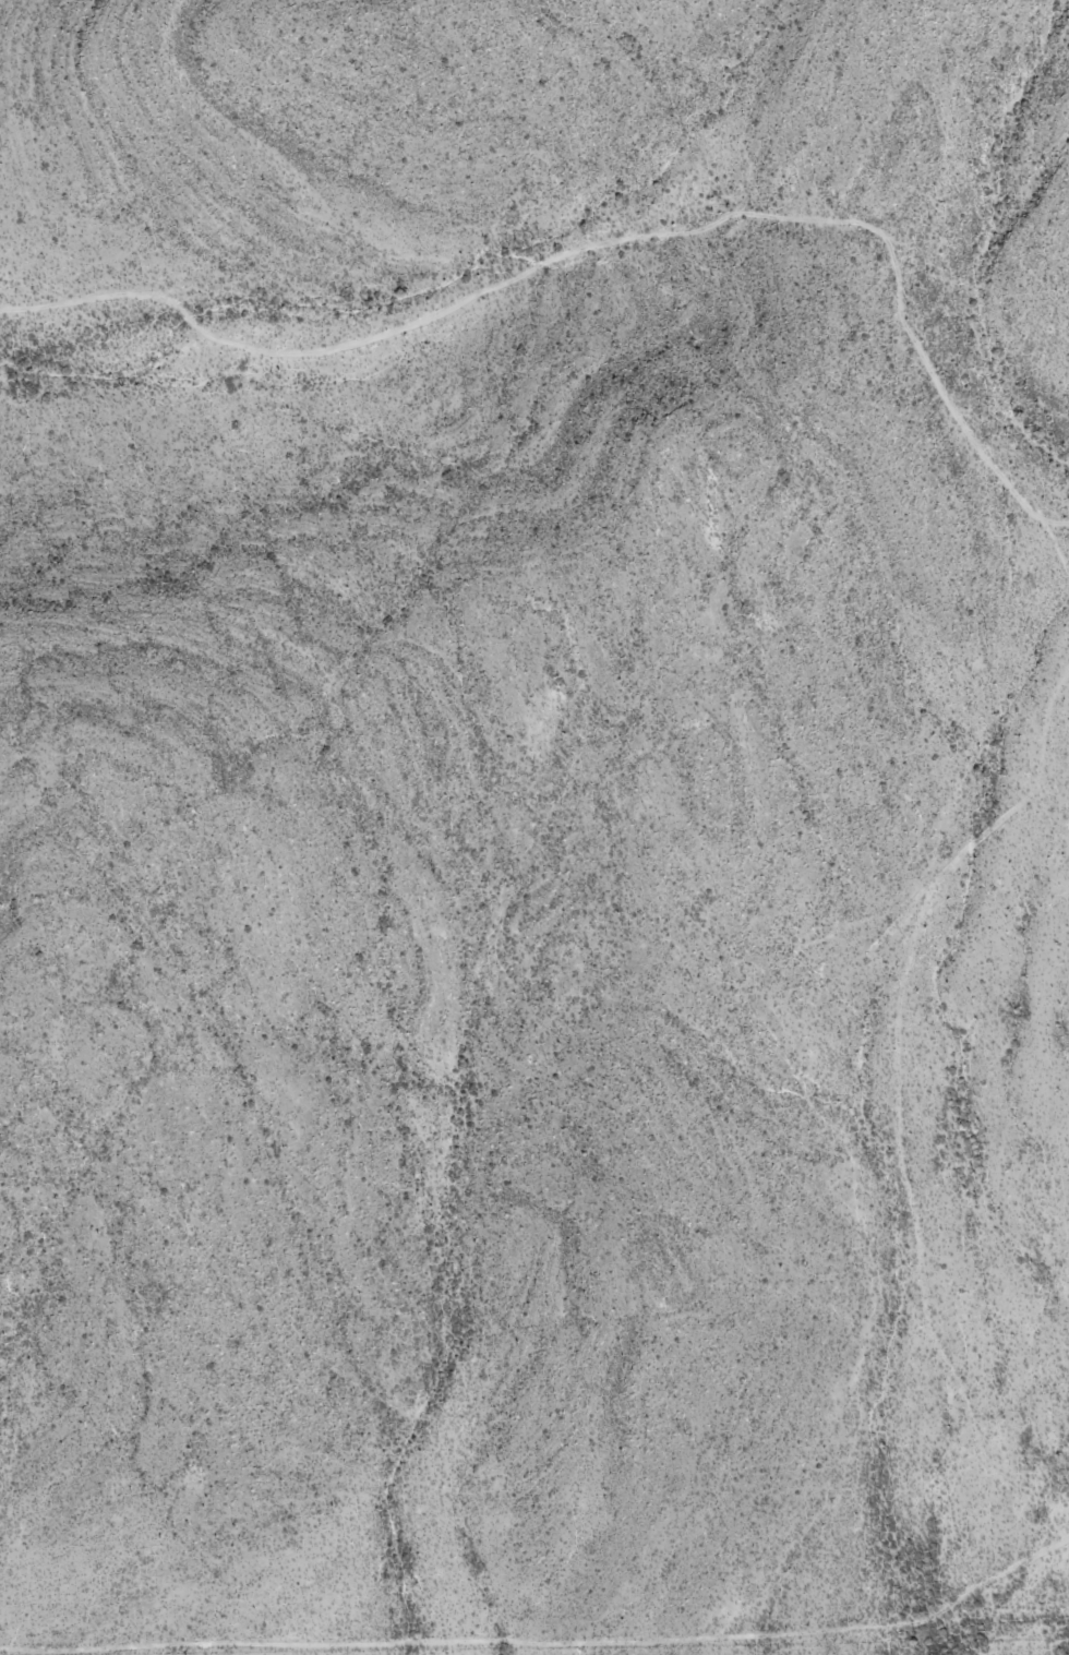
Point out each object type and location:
road: (534, 1632)

